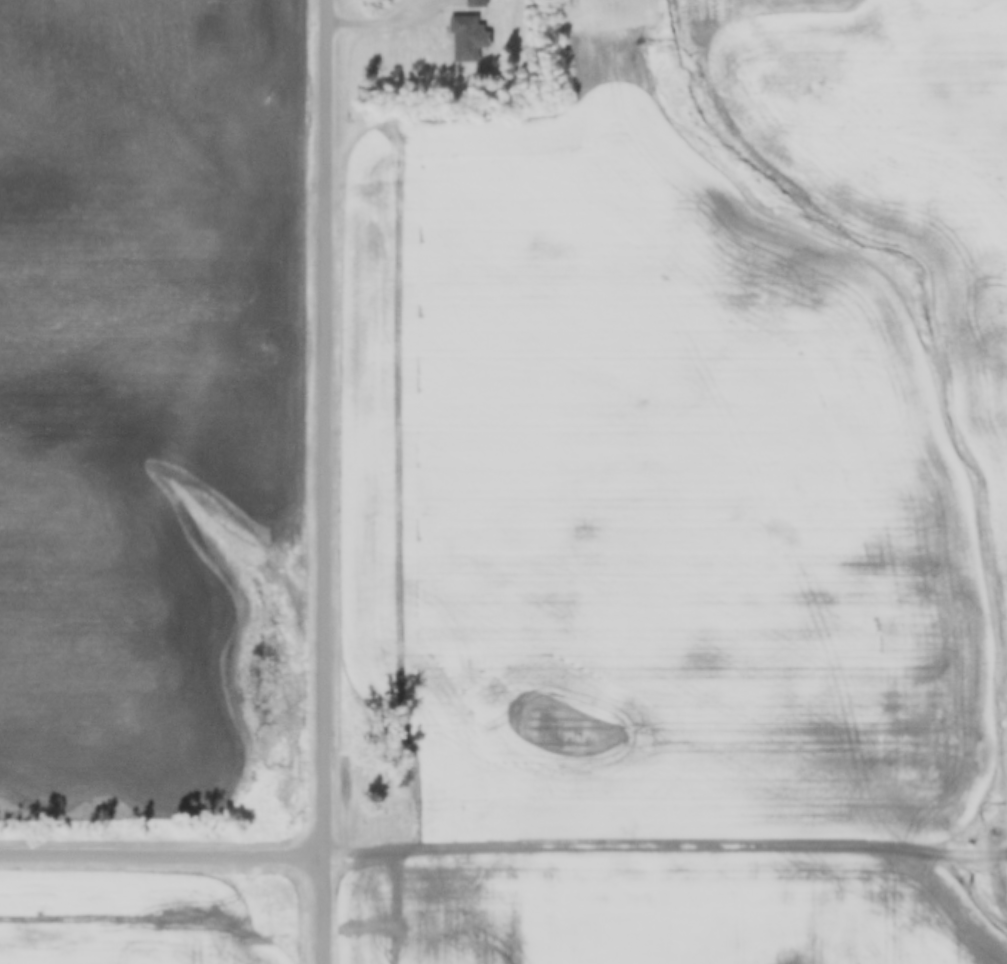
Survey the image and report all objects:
building: (476, 4)
road: (377, 21)
building: (467, 40)
road: (327, 481)
road: (395, 835)
road: (164, 853)

